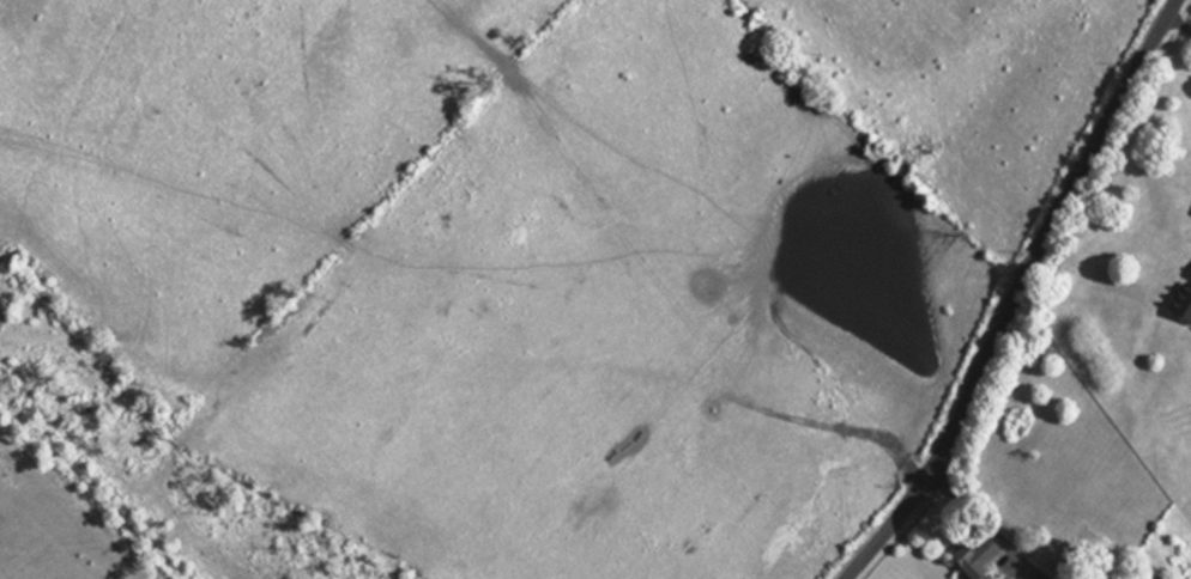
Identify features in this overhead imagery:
road: (1177, 26)
road: (1011, 293)
building: (1180, 299)
road: (985, 525)
building: (967, 559)

